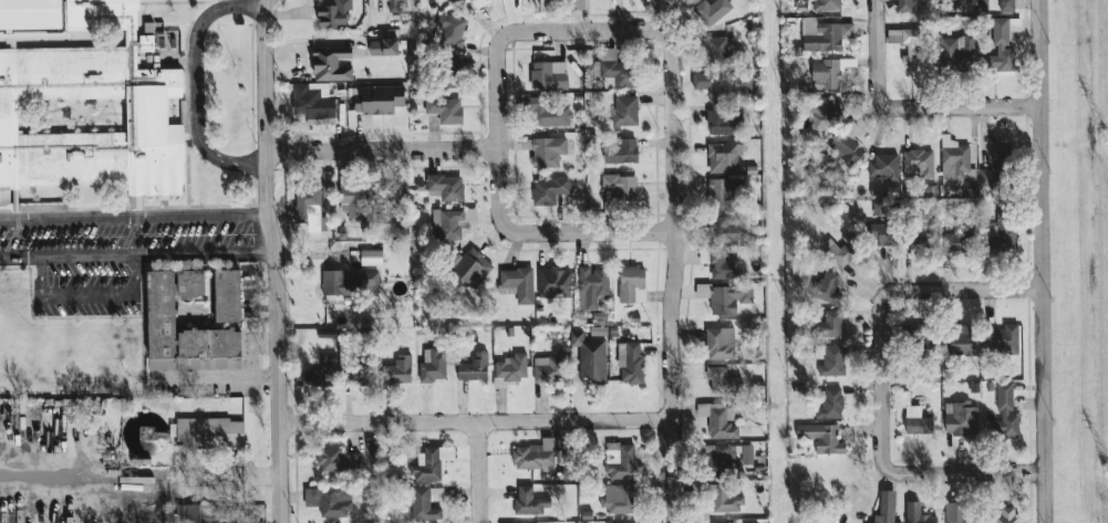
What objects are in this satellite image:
building: (455, 0)
building: (476, 2)
building: (578, 4)
building: (824, 4)
building: (901, 6)
building: (1004, 6)
road: (874, 9)
building: (707, 11)
building: (329, 13)
building: (1012, 24)
building: (448, 32)
road: (583, 32)
building: (821, 34)
building: (377, 46)
building: (905, 46)
building: (712, 48)
building: (998, 48)
building: (954, 52)
building: (325, 64)
building: (448, 65)
building: (612, 67)
building: (822, 74)
building: (546, 75)
road: (194, 83)
building: (722, 83)
road: (497, 92)
building: (85, 97)
building: (374, 100)
building: (308, 103)
road: (917, 107)
building: (442, 109)
building: (622, 111)
building: (545, 113)
building: (819, 113)
building: (718, 122)
power tower: (1102, 137)
road: (381, 149)
building: (842, 149)
building: (543, 151)
building: (618, 151)
building: (721, 157)
building: (951, 161)
building: (914, 164)
building: (881, 167)
building: (982, 177)
building: (444, 187)
building: (618, 187)
building: (719, 190)
road: (498, 191)
building: (545, 191)
building: (351, 201)
building: (306, 207)
road: (132, 217)
building: (444, 224)
building: (721, 230)
road: (591, 232)
building: (877, 234)
building: (912, 237)
building: (997, 239)
building: (949, 243)
building: (833, 252)
road: (136, 255)
building: (369, 258)
road: (273, 261)
road: (1040, 261)
building: (716, 264)
building: (469, 268)
road: (673, 279)
building: (552, 282)
building: (184, 283)
building: (345, 283)
building: (516, 283)
building: (629, 285)
building: (589, 287)
building: (821, 287)
road: (918, 291)
road: (86, 294)
building: (220, 295)
building: (725, 299)
building: (826, 325)
building: (177, 334)
building: (954, 339)
building: (1000, 342)
building: (920, 343)
building: (716, 344)
building: (587, 357)
building: (829, 362)
building: (628, 363)
building: (429, 365)
building: (470, 368)
building: (545, 369)
building: (507, 370)
building: (393, 372)
building: (330, 373)
road: (226, 377)
building: (716, 378)
building: (827, 405)
building: (1002, 414)
building: (909, 415)
building: (957, 419)
road: (474, 420)
building: (716, 421)
building: (206, 433)
building: (818, 438)
building: (530, 456)
building: (716, 457)
building: (334, 461)
building: (615, 461)
building: (426, 463)
power tower: (1107, 469)
road: (479, 471)
road: (922, 473)
building: (613, 499)
building: (722, 500)
building: (331, 502)
building: (524, 502)
building: (420, 505)
building: (881, 509)
building: (914, 514)
building: (957, 514)
building: (199, 515)
building: (1004, 515)
building: (722, 522)

